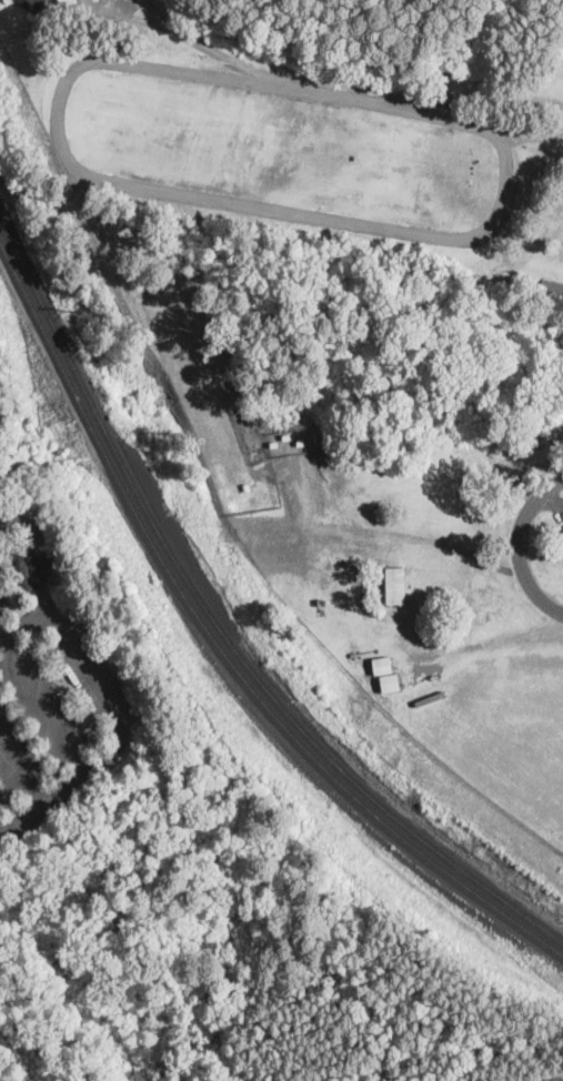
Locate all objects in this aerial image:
building: (30, 3)
road: (311, 90)
road: (470, 124)
road: (178, 194)
building: (552, 285)
road: (549, 502)
parking lot: (559, 507)
road: (519, 545)
building: (321, 603)
road: (22, 624)
railway: (220, 626)
railway: (220, 645)
building: (381, 664)
building: (389, 681)
road: (102, 688)
road: (44, 700)
road: (21, 771)

